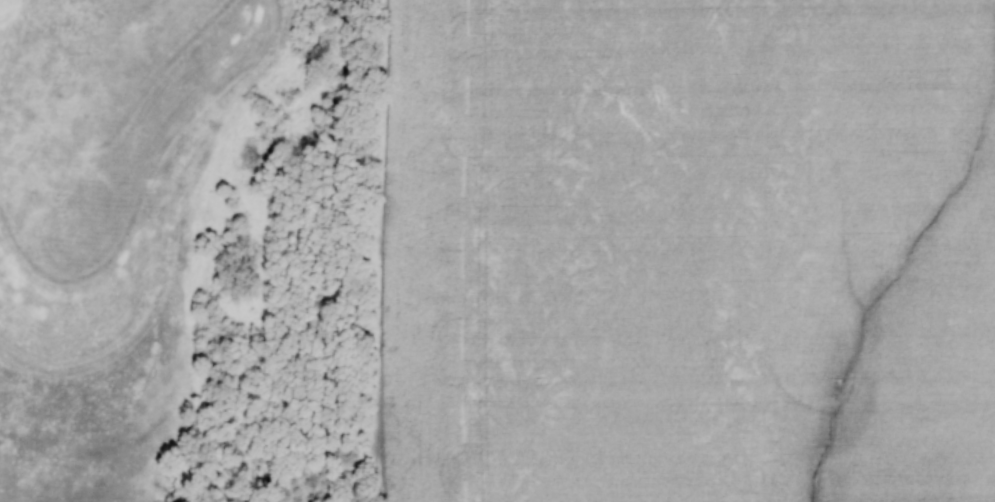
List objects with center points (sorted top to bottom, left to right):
crop: (689, 251)

